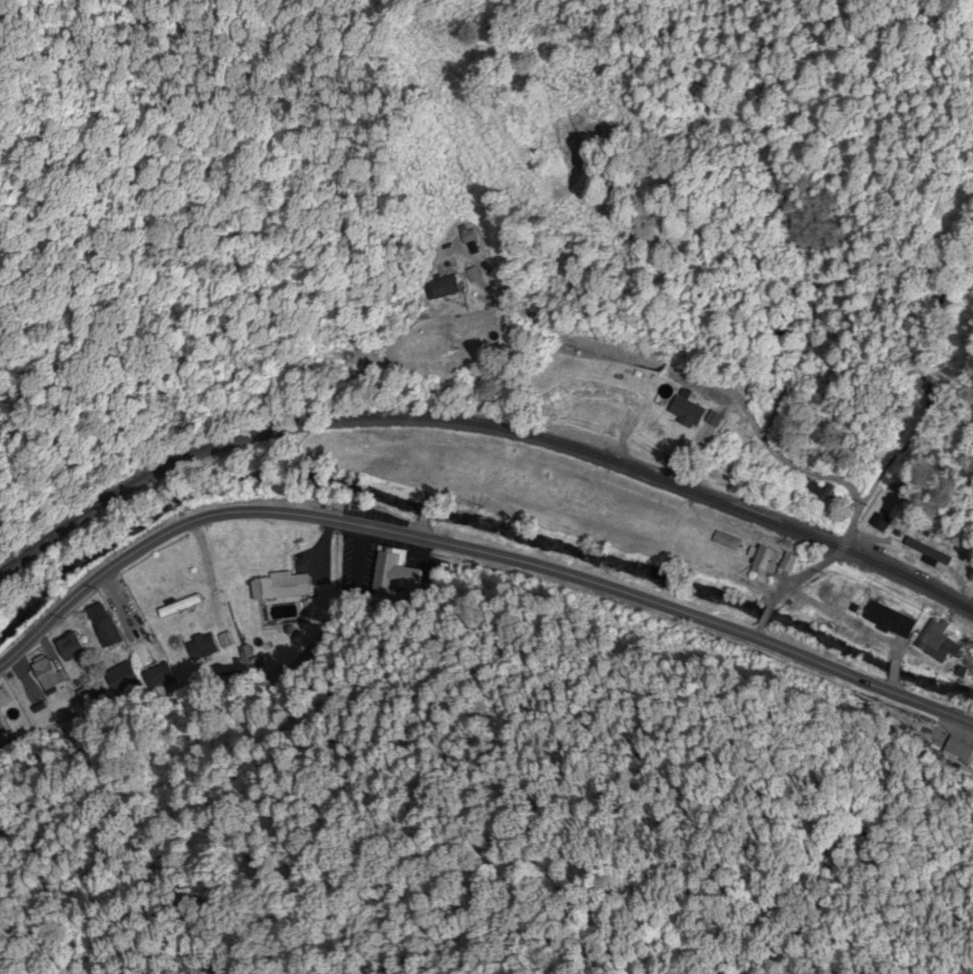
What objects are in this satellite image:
road: (802, 216)
building: (467, 237)
building: (444, 286)
road: (642, 289)
building: (779, 327)
building: (424, 341)
road: (723, 356)
building: (336, 361)
road: (775, 394)
building: (592, 410)
building: (686, 410)
road: (912, 416)
railway: (485, 426)
building: (814, 492)
road: (425, 514)
building: (725, 541)
road: (473, 550)
building: (931, 557)
building: (766, 561)
building: (395, 572)
building: (280, 586)
building: (179, 606)
building: (889, 620)
road: (762, 621)
building: (103, 626)
building: (936, 642)
building: (71, 647)
building: (201, 648)
building: (45, 673)
building: (161, 676)
building: (1, 727)
building: (959, 752)
road: (173, 790)
road: (282, 909)

